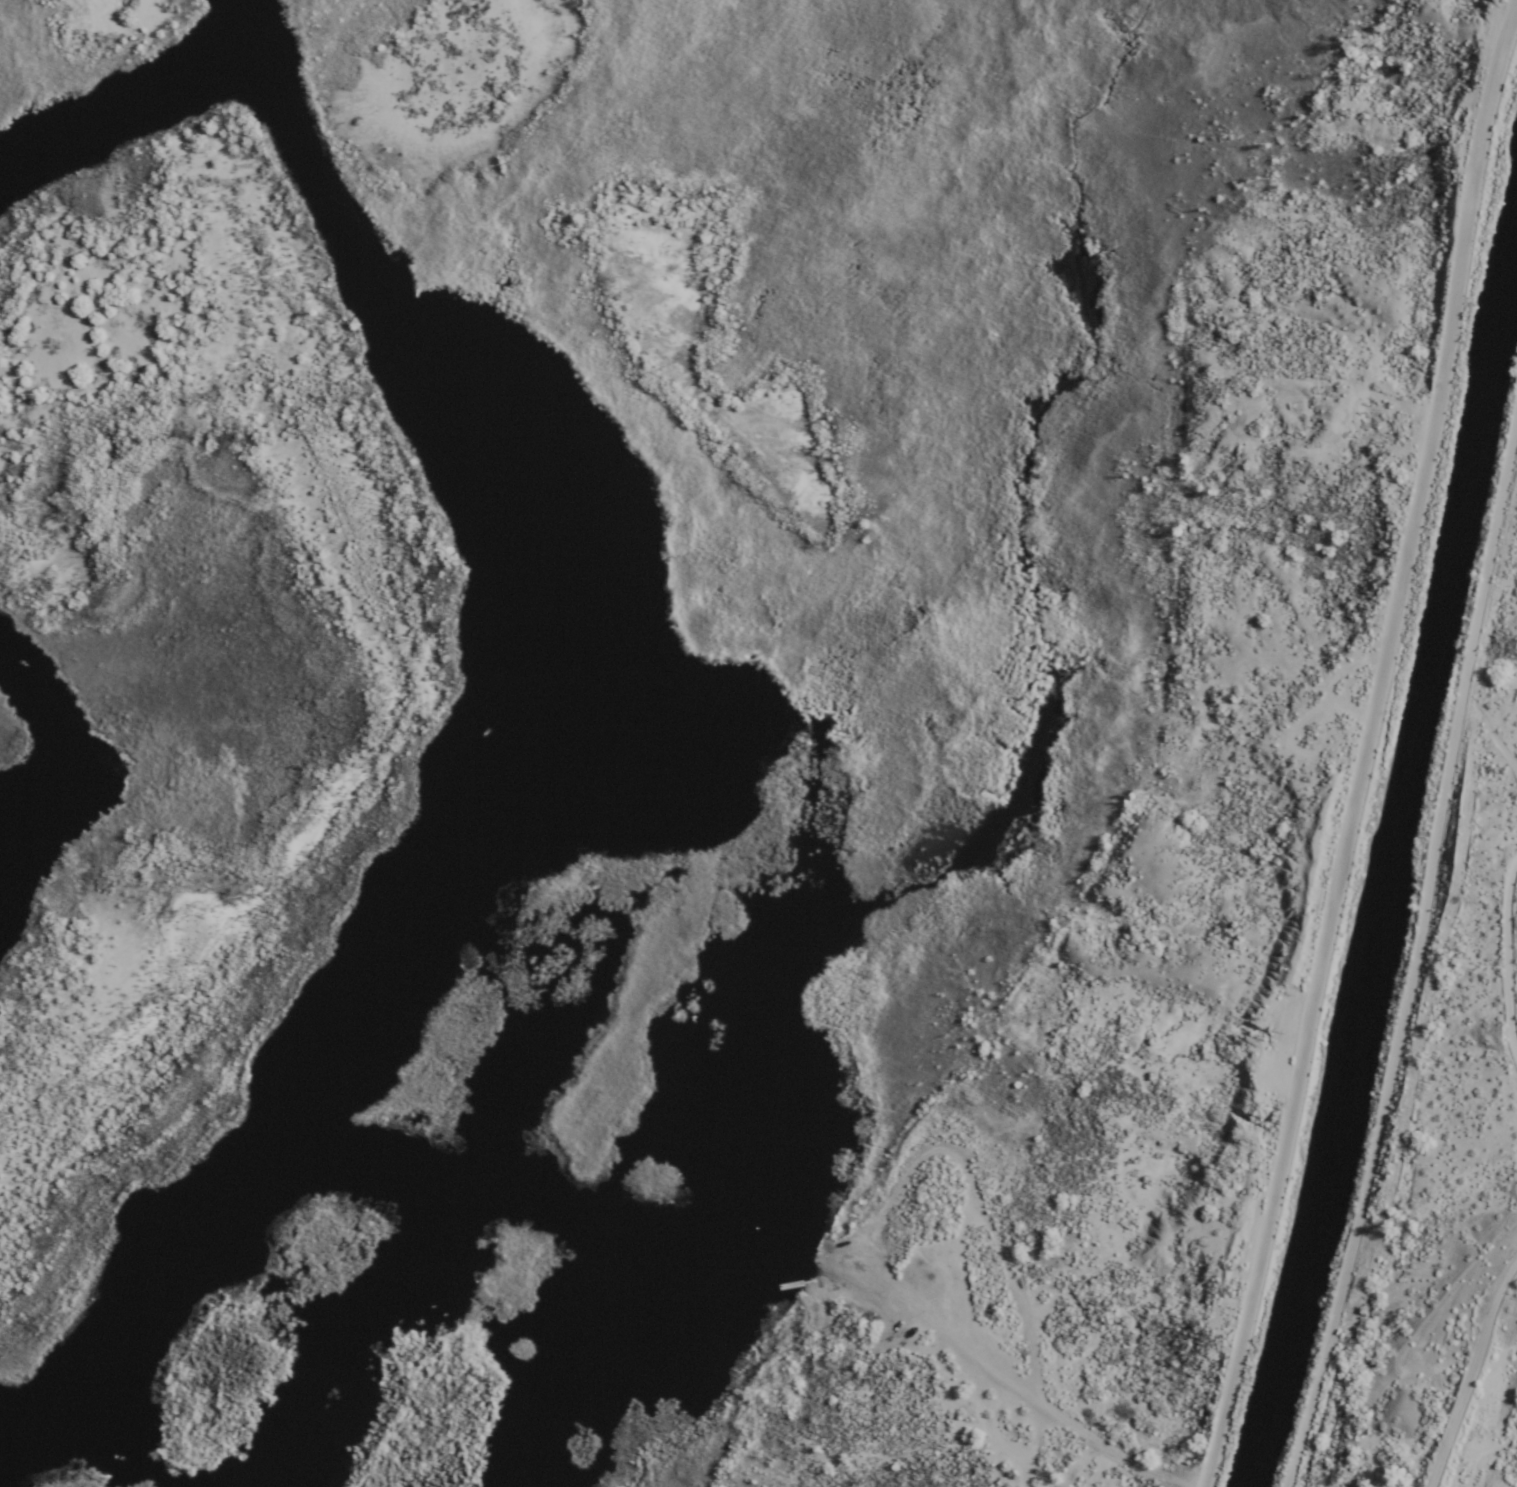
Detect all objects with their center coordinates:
road: (1366, 750)
river: (1395, 860)

